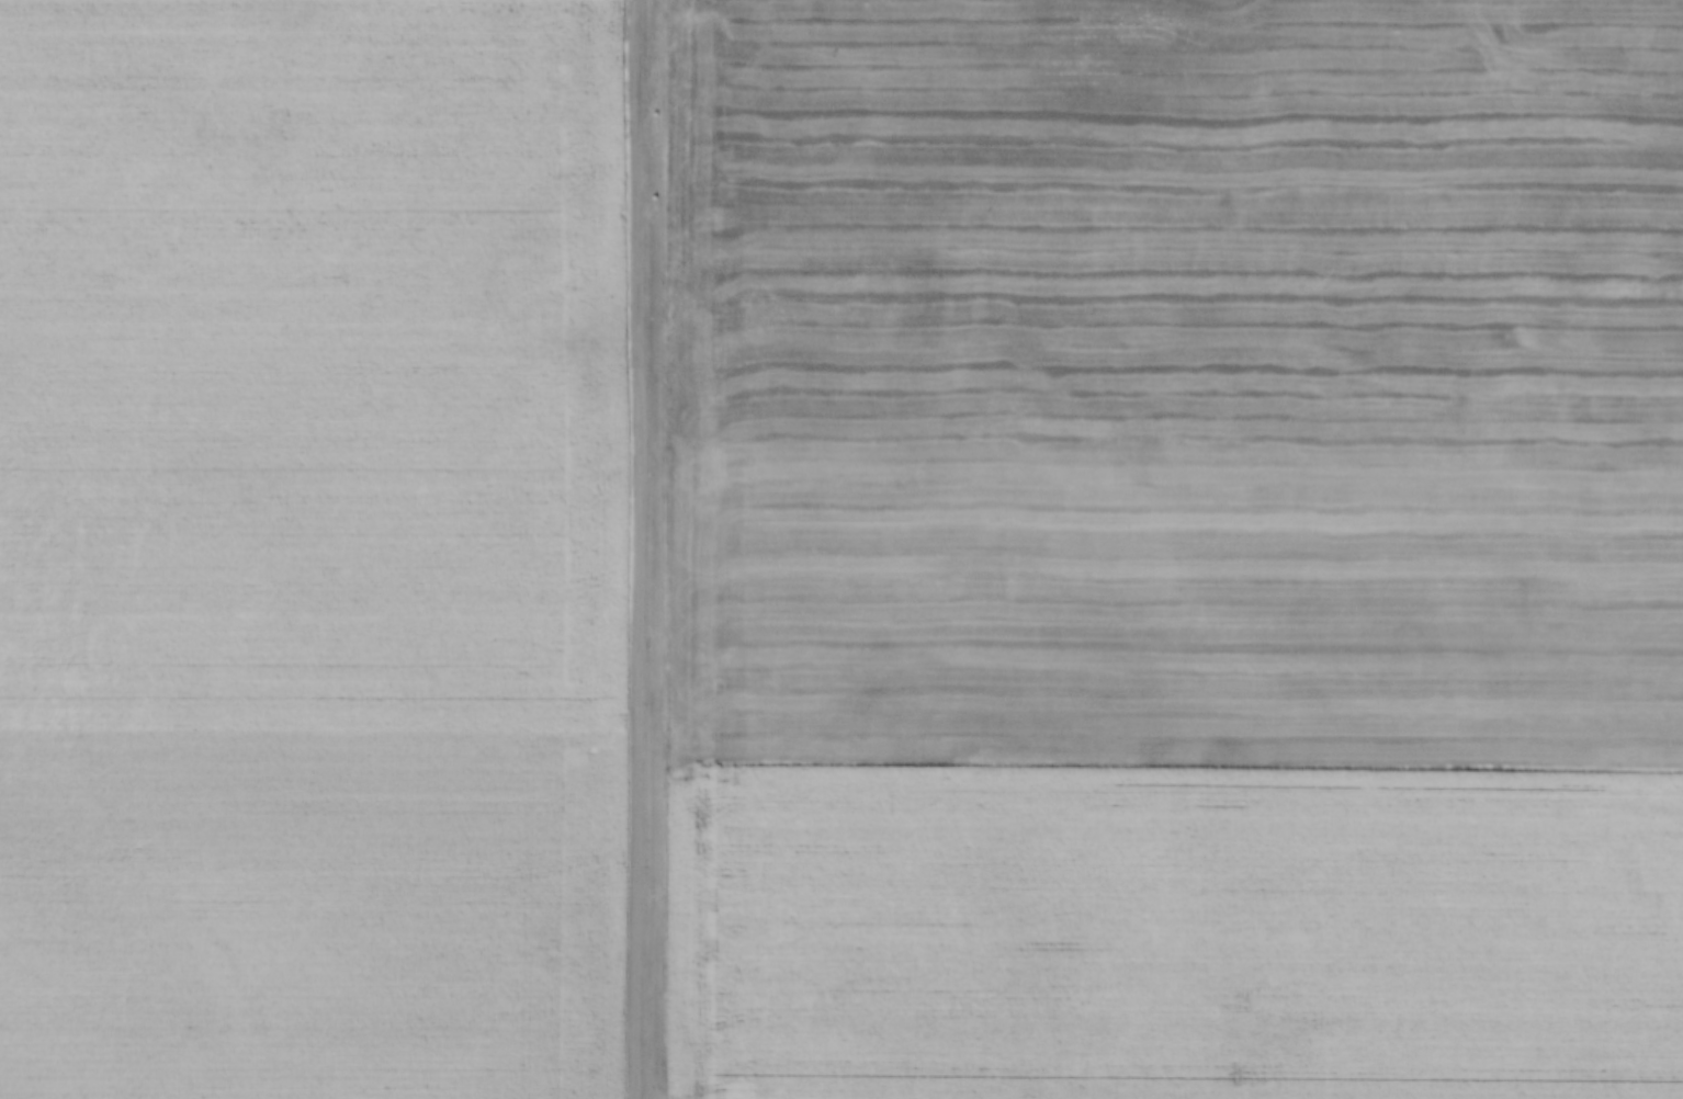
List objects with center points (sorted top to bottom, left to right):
road: (640, 549)

